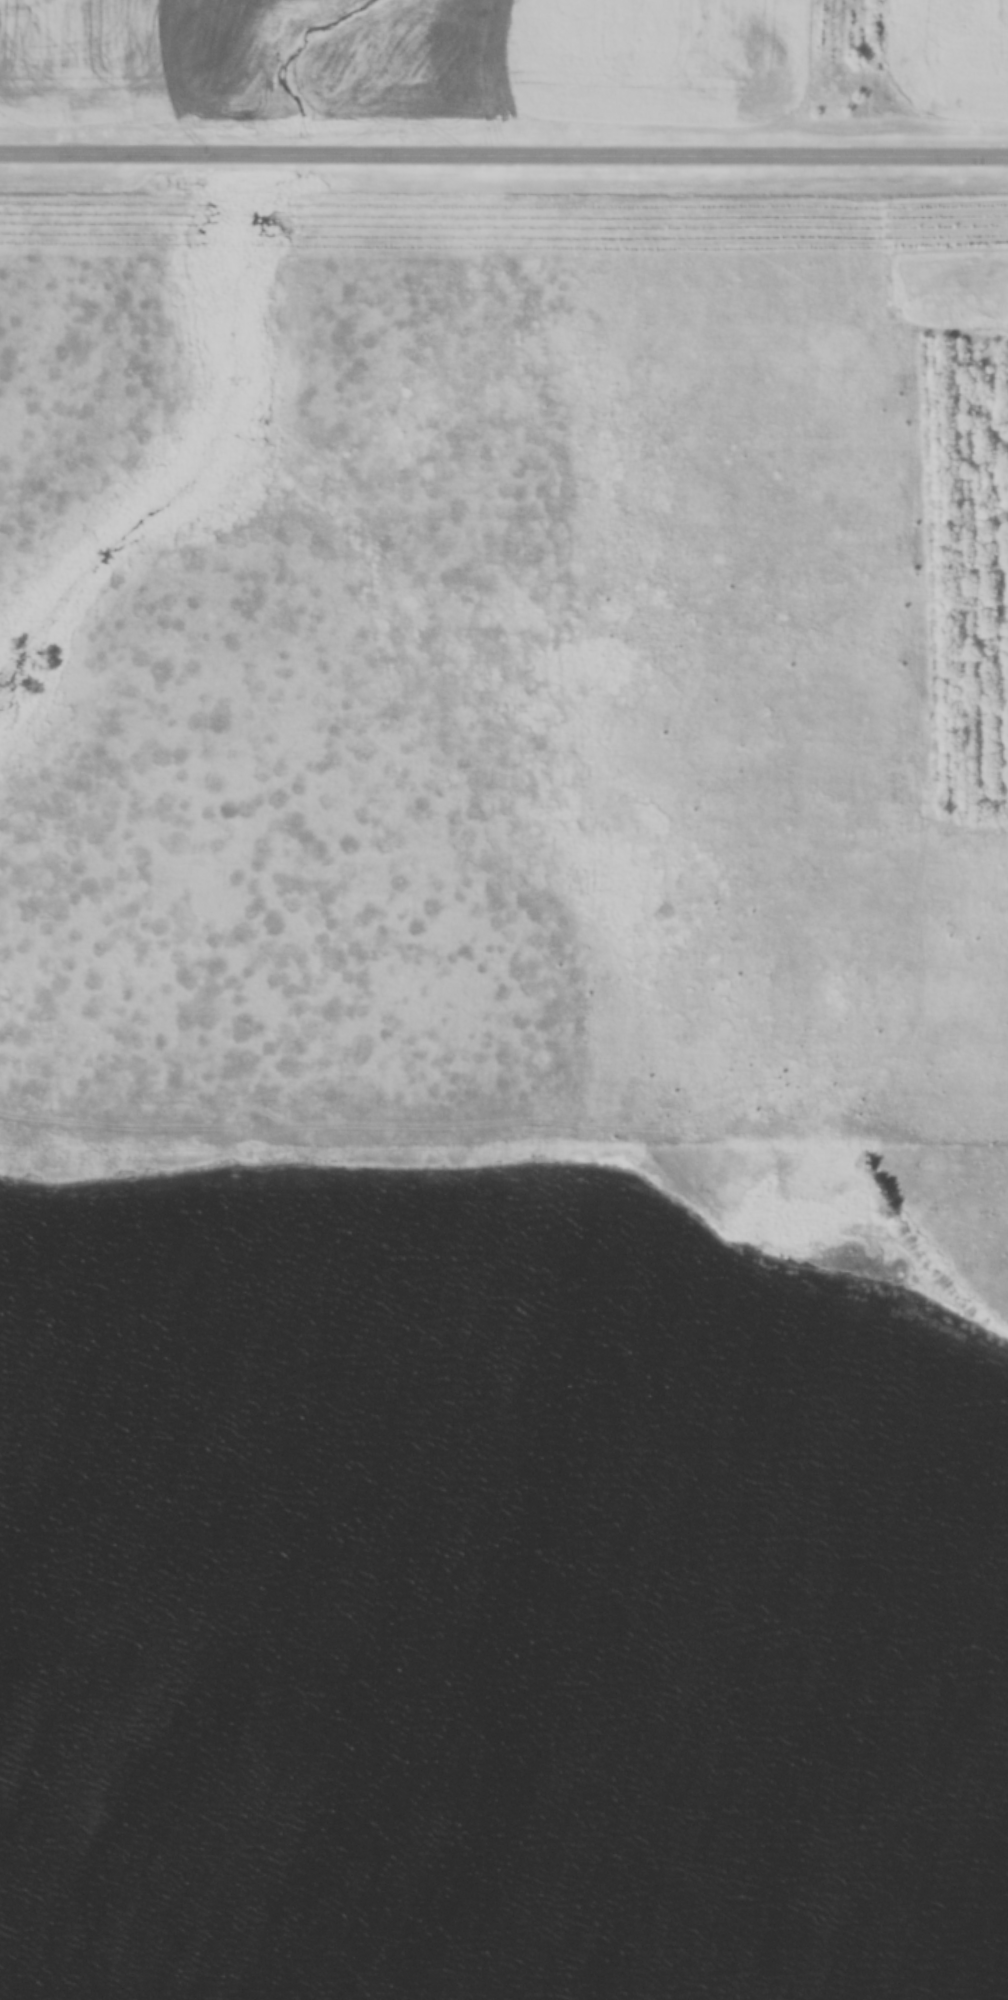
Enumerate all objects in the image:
road: (504, 154)

